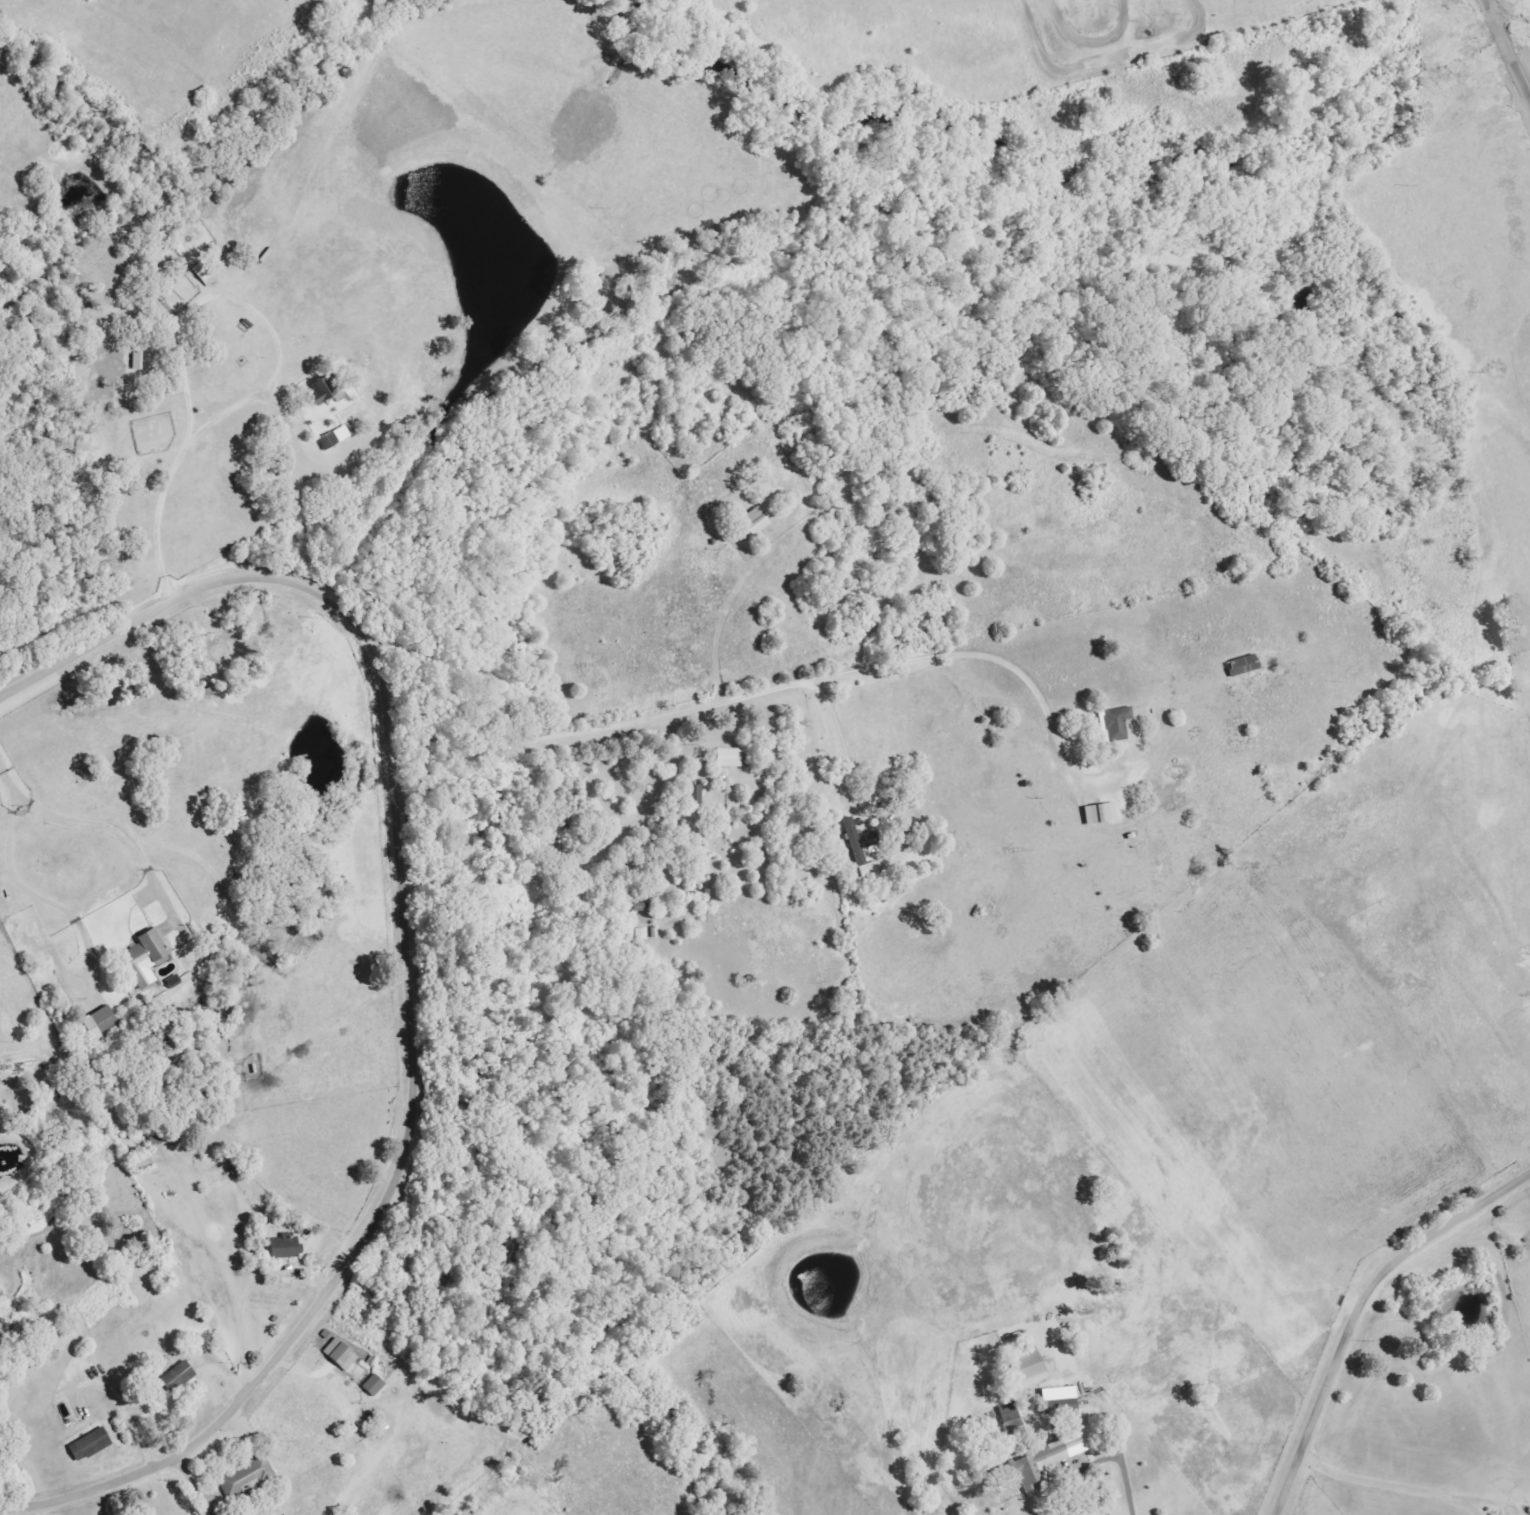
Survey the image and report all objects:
road: (1508, 47)
road: (277, 335)
building: (337, 438)
road: (162, 522)
building: (757, 522)
road: (734, 614)
building: (1245, 666)
road: (769, 692)
building: (1119, 725)
road: (843, 752)
building: (725, 758)
building: (692, 794)
building: (1096, 813)
road: (90, 822)
road: (578, 867)
road: (27, 886)
building: (147, 958)
road: (410, 969)
building: (102, 1023)
building: (287, 1247)
road: (229, 1272)
road: (1362, 1310)
building: (337, 1356)
building: (1020, 1367)
building: (180, 1378)
building: (370, 1386)
building: (1053, 1401)
building: (92, 1445)
building: (248, 1479)
road: (1381, 1483)
road: (1060, 1494)
road: (1484, 1502)

